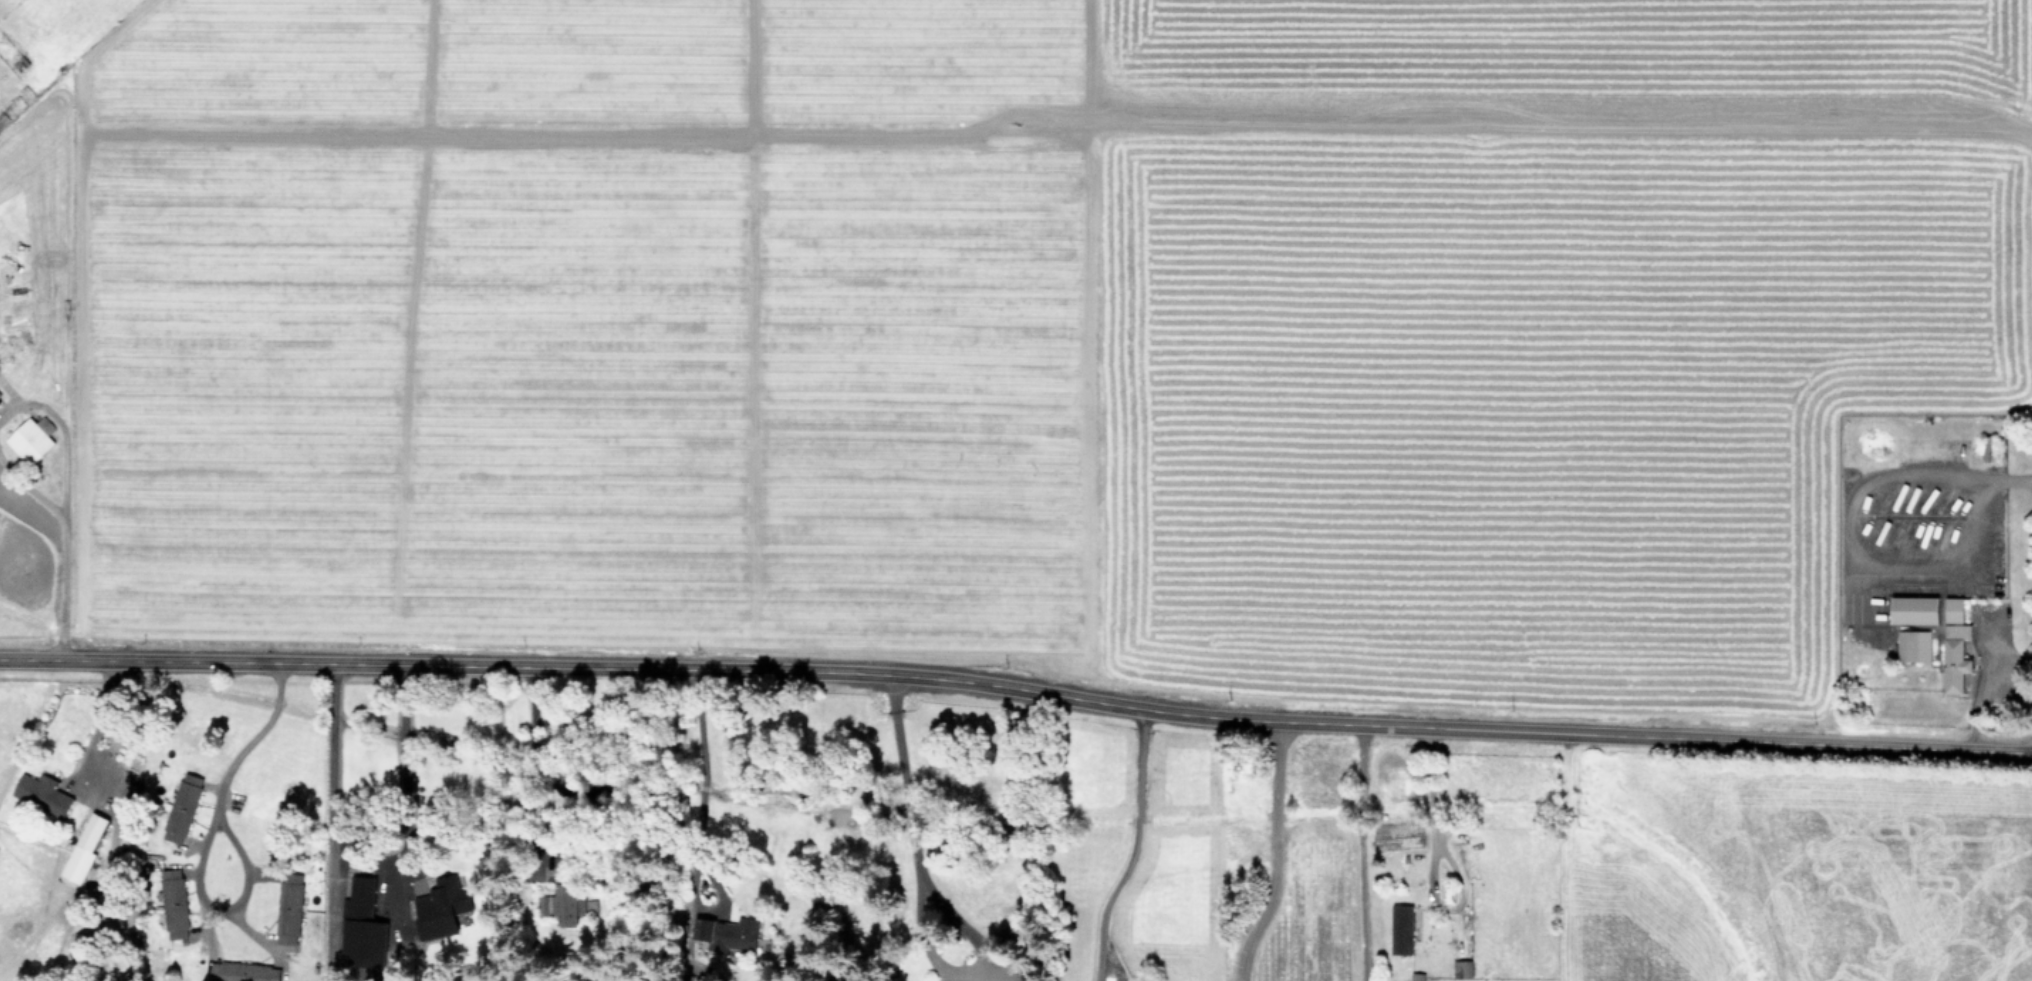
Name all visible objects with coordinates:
crop: (1075, 317)
road: (59, 435)
building: (32, 441)
road: (28, 485)
road: (59, 588)
building: (1917, 612)
building: (1916, 648)
building: (1957, 648)
road: (1982, 688)
road: (1016, 691)
road: (101, 716)
road: (250, 743)
road: (399, 765)
road: (330, 769)
road: (703, 775)
building: (42, 797)
road: (1423, 798)
building: (183, 810)
road: (901, 811)
road: (1134, 849)
building: (86, 850)
road: (1366, 853)
road: (1278, 854)
building: (566, 900)
crop: (962, 901)
building: (362, 903)
building: (174, 906)
building: (289, 909)
building: (440, 911)
road: (225, 913)
building: (1402, 932)
building: (729, 937)
building: (1463, 971)
building: (243, 973)
building: (1418, 978)

